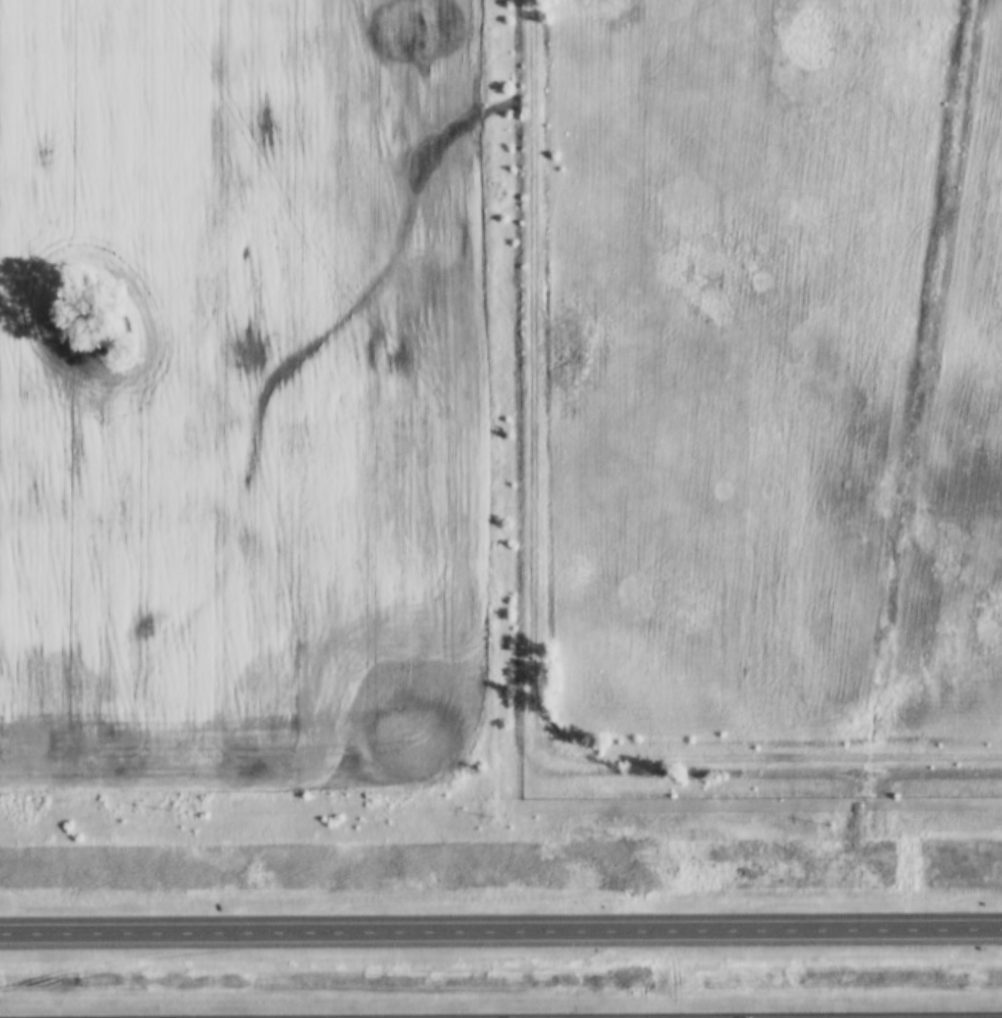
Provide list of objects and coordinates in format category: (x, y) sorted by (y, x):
road: (501, 928)
road: (935, 1017)

